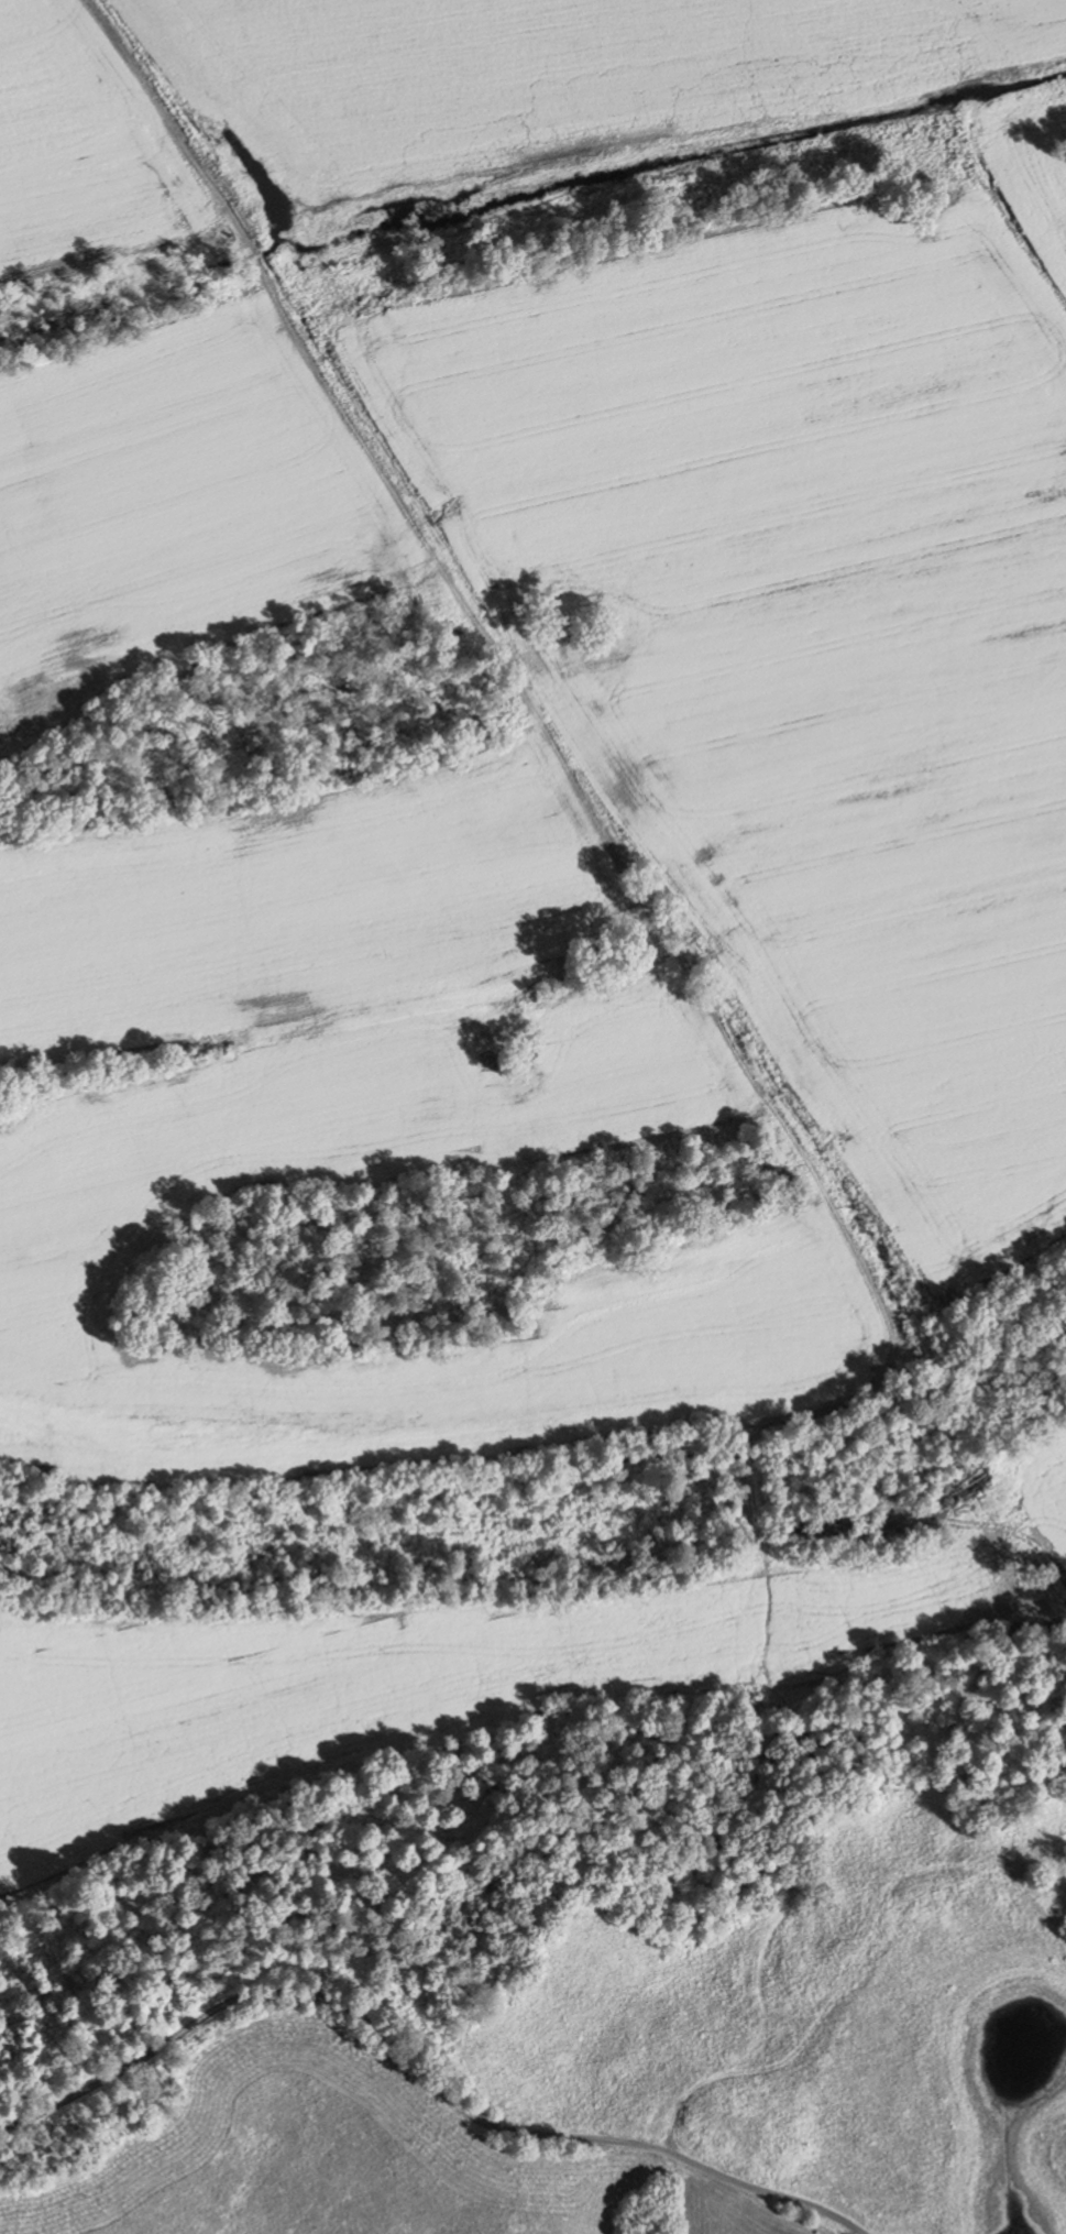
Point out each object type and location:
road: (421, 2069)

